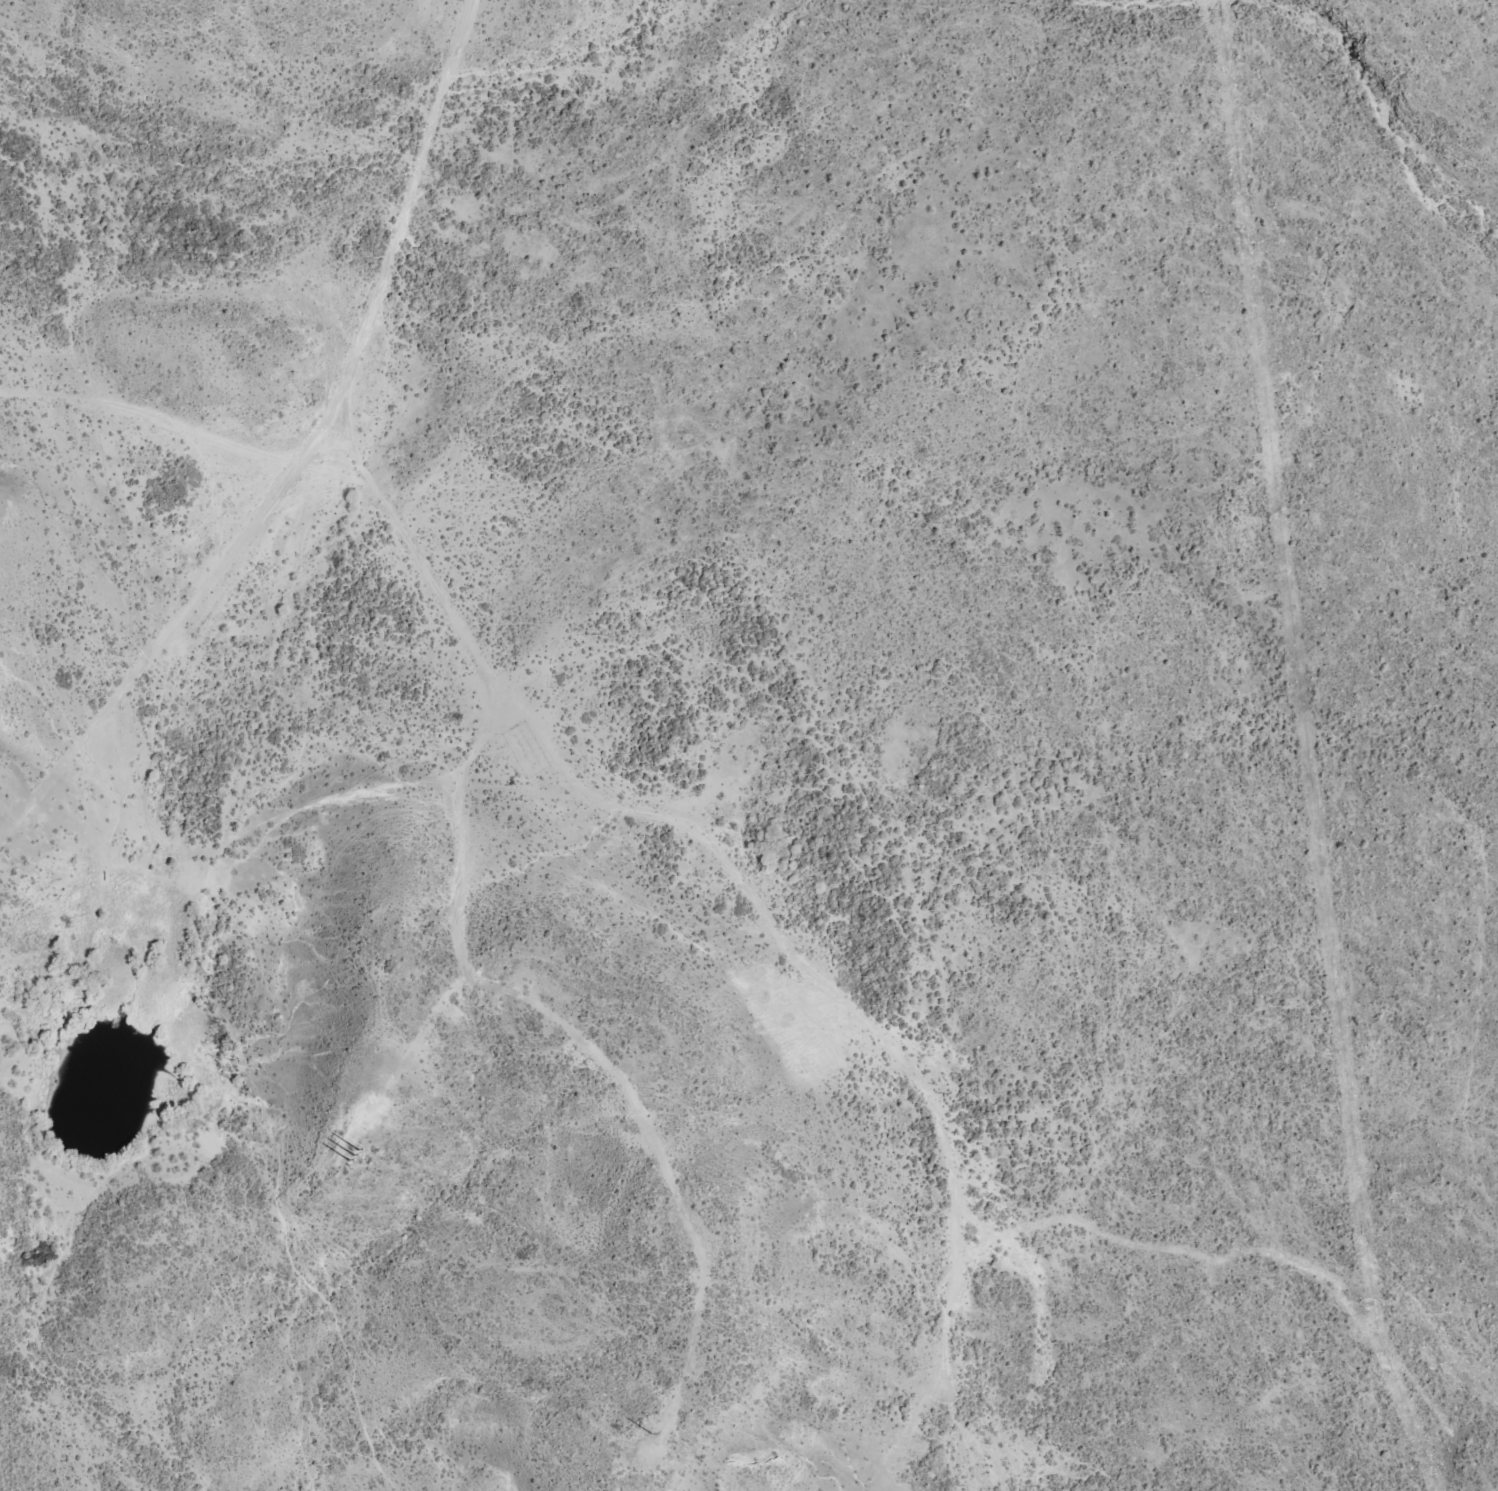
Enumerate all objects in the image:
road: (311, 464)
power tower: (350, 1155)
power tower: (648, 1432)

